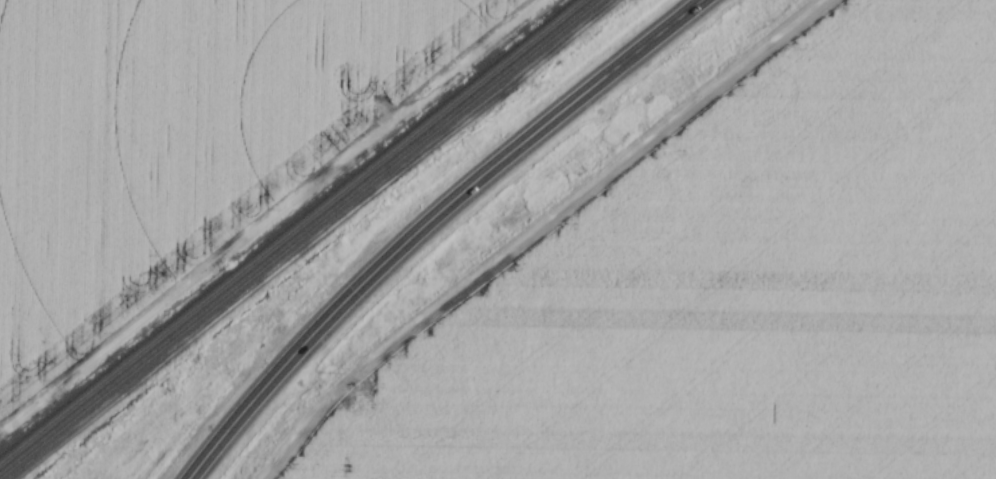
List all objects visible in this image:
road: (430, 221)
railway: (290, 230)
railway: (298, 237)

